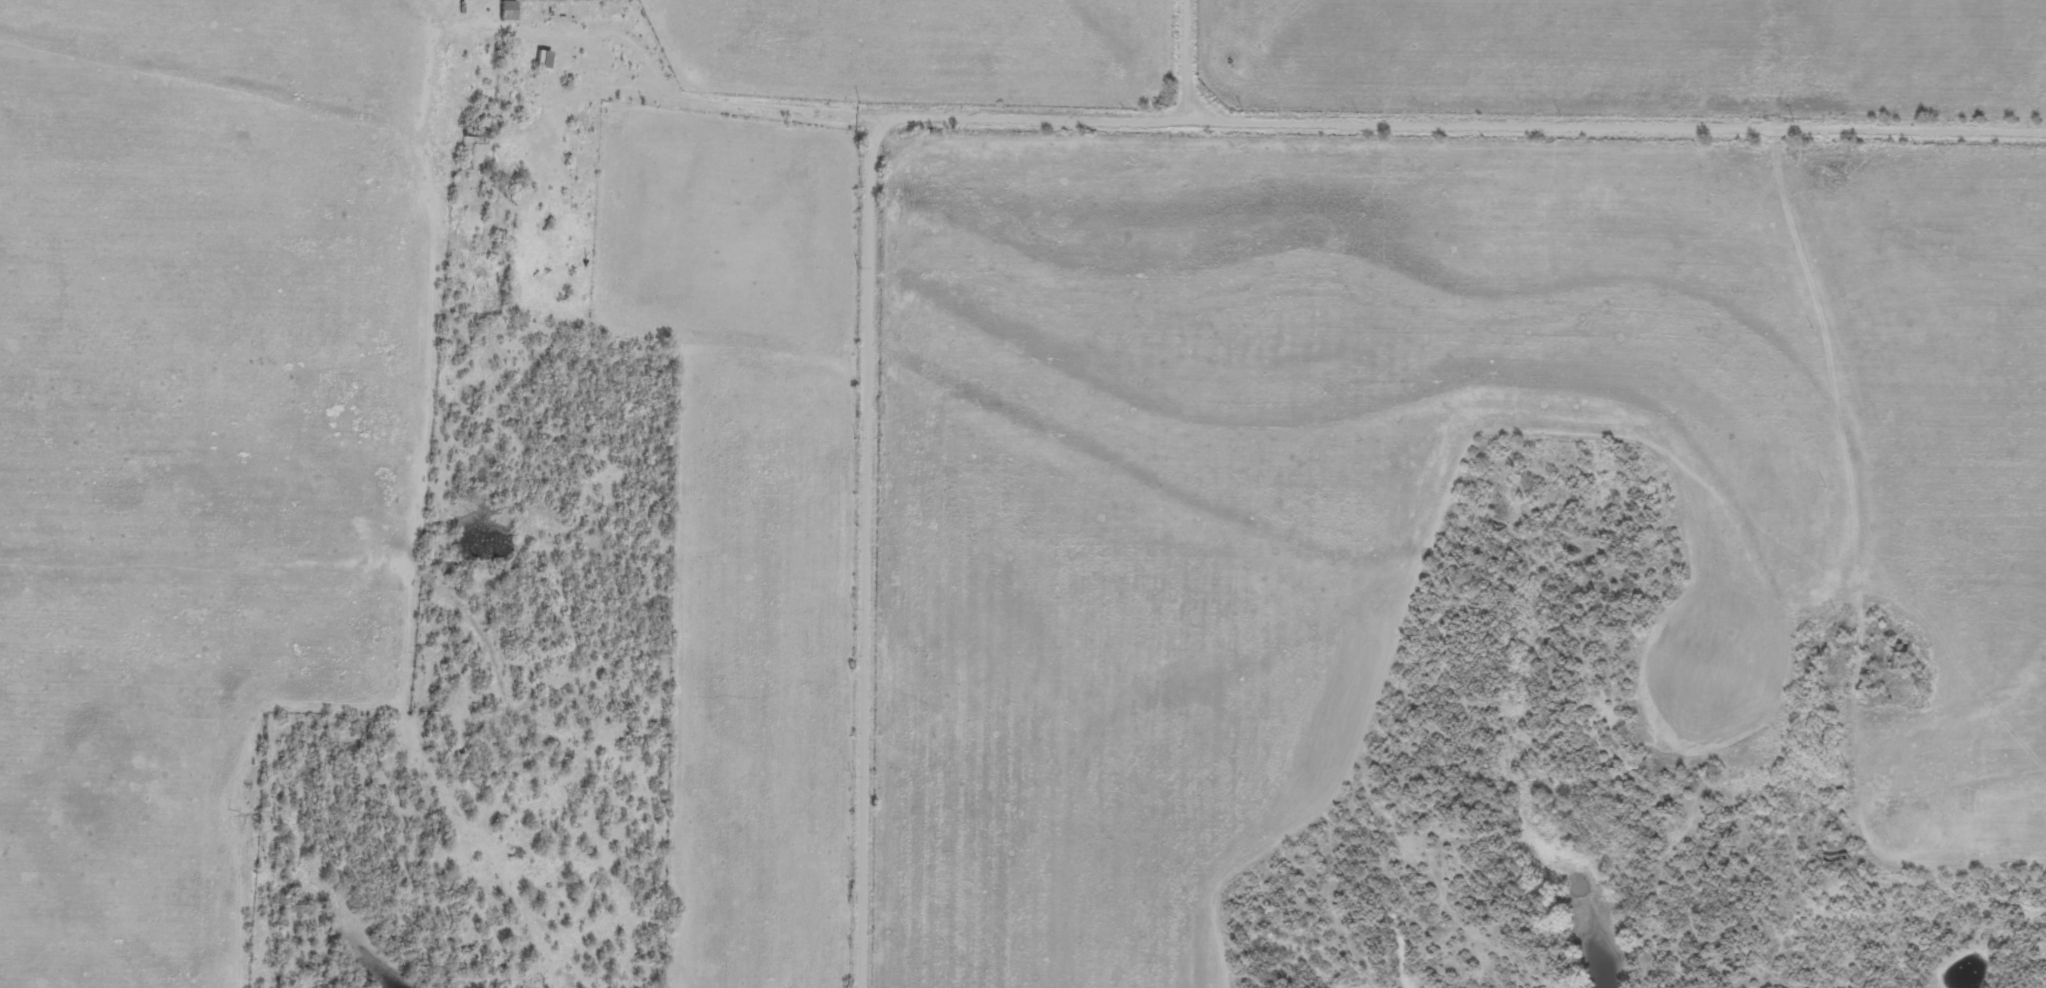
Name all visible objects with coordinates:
building: (506, 10)
building: (542, 59)
road: (1607, 124)
building: (473, 136)
road: (873, 351)
road: (439, 366)
building: (1896, 659)

